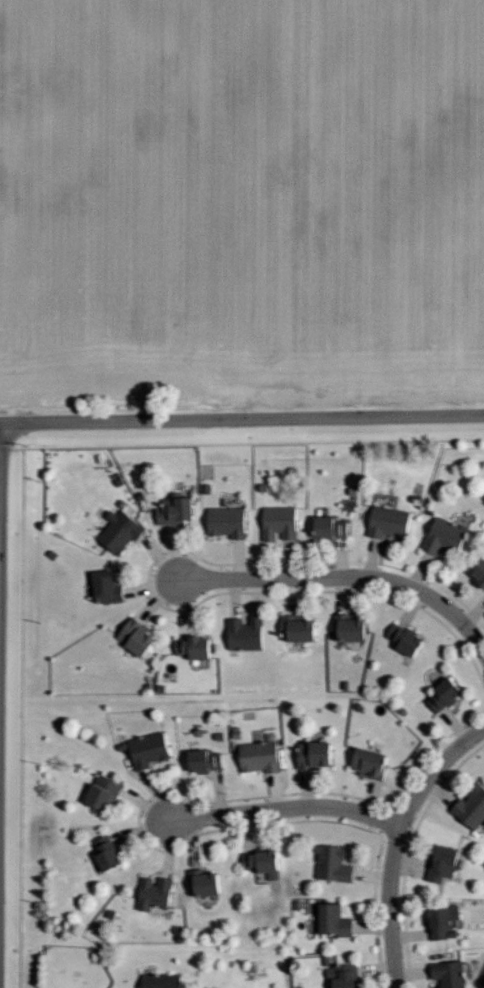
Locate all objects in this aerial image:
road: (242, 419)
building: (177, 509)
building: (229, 522)
building: (391, 522)
building: (281, 524)
building: (333, 527)
building: (122, 531)
building: (447, 536)
building: (481, 577)
road: (345, 579)
building: (109, 587)
building: (300, 629)
building: (352, 629)
building: (247, 634)
building: (139, 638)
building: (406, 639)
building: (197, 647)
building: (446, 696)
building: (150, 750)
building: (317, 755)
building: (261, 757)
building: (207, 761)
building: (373, 763)
building: (106, 793)
road: (285, 809)
building: (472, 809)
road: (397, 842)
building: (109, 854)
building: (265, 863)
building: (335, 864)
building: (446, 864)
building: (206, 884)
building: (156, 893)
building: (337, 921)
building: (444, 921)
building: (450, 974)
building: (164, 981)

